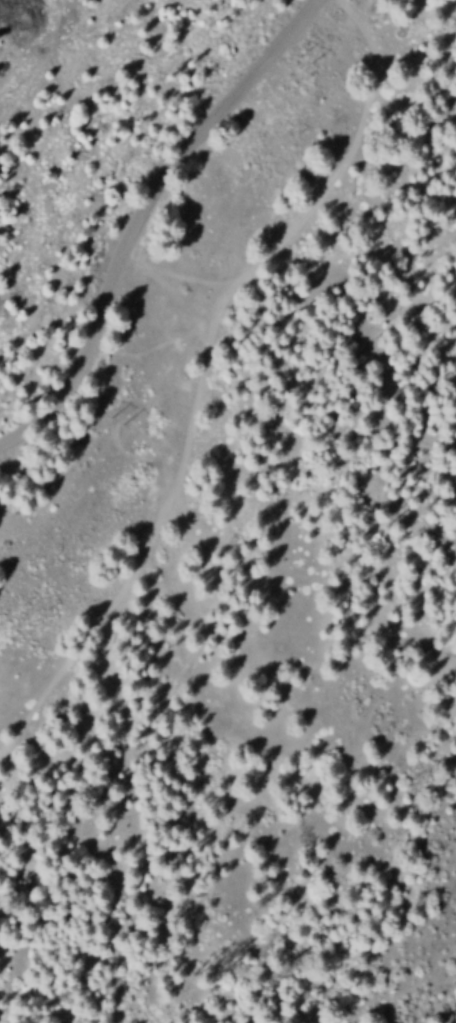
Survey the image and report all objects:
power tower: (306, 57)
road: (139, 210)
power tower: (129, 418)

